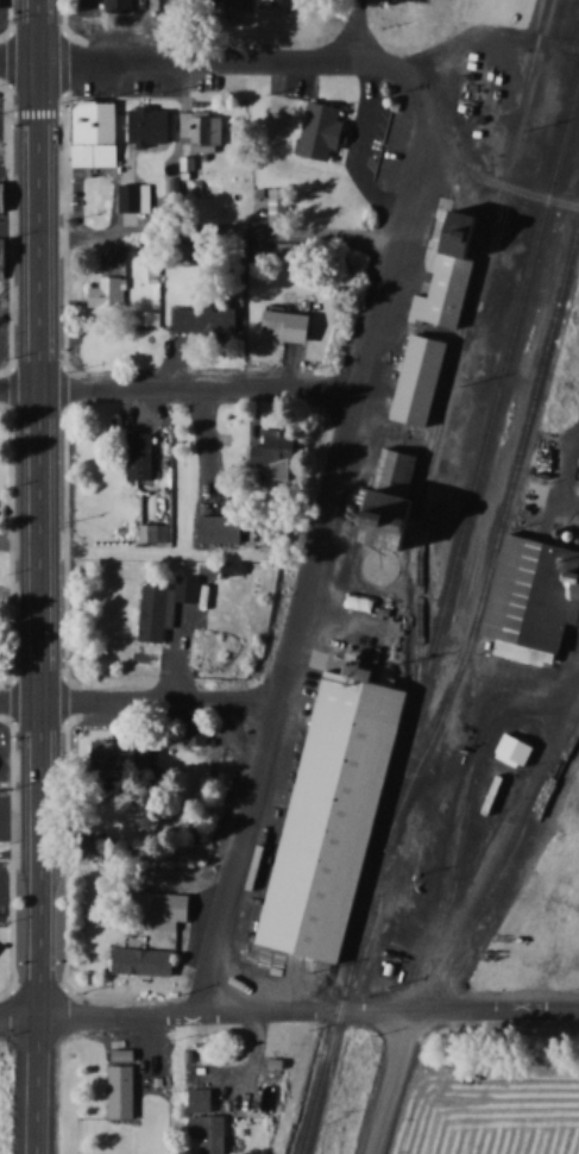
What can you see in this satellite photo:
building: (0, 1)
building: (297, 1)
building: (244, 4)
building: (120, 6)
road: (359, 27)
road: (214, 56)
building: (151, 124)
building: (327, 126)
building: (97, 128)
building: (204, 130)
road: (495, 183)
building: (131, 196)
building: (4, 200)
building: (1, 251)
building: (454, 262)
building: (109, 291)
railway: (518, 309)
building: (212, 319)
building: (294, 325)
railway: (455, 356)
building: (423, 374)
road: (184, 387)
building: (141, 454)
building: (283, 456)
building: (396, 496)
road: (40, 506)
building: (225, 527)
road: (334, 539)
railway: (497, 541)
building: (540, 592)
building: (165, 604)
road: (145, 697)
building: (201, 733)
building: (518, 750)
building: (126, 754)
building: (333, 814)
railway: (379, 848)
building: (164, 909)
road: (441, 912)
building: (145, 961)
road: (289, 1011)
road: (38, 1084)
building: (124, 1084)
building: (202, 1098)
crop: (483, 1104)
building: (212, 1131)

